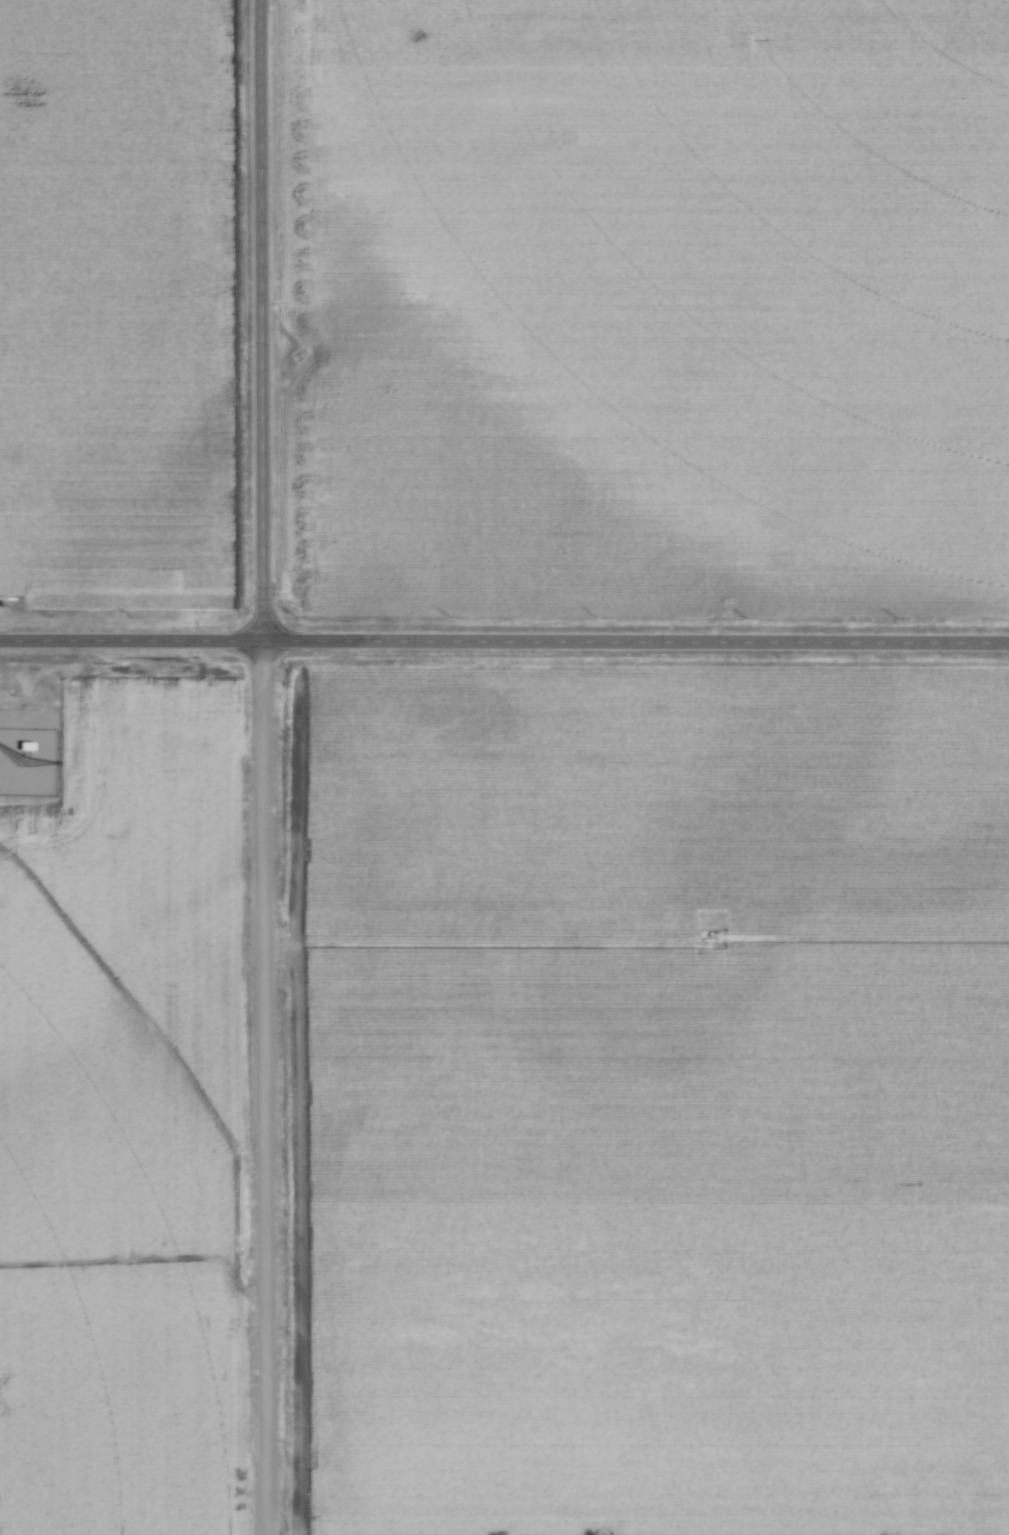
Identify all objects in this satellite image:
road: (259, 320)
road: (130, 641)
road: (634, 642)
road: (262, 1088)
crop: (123, 1124)

